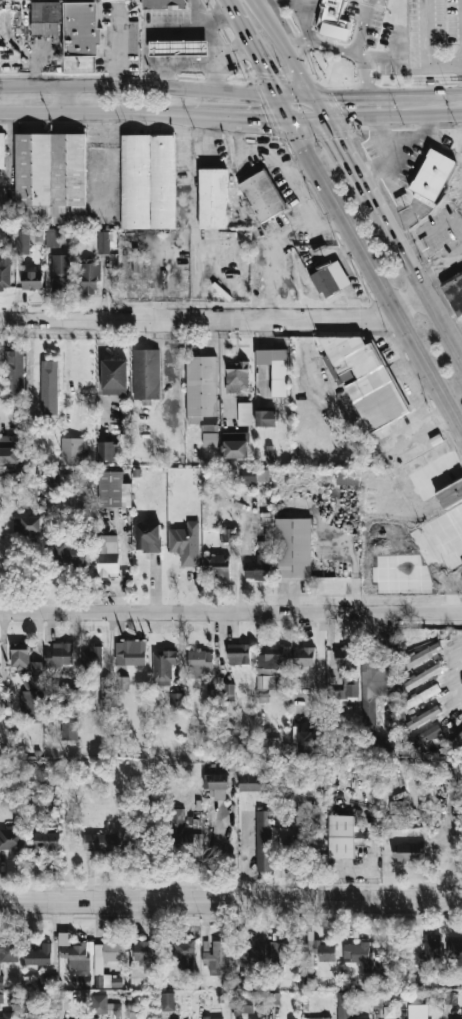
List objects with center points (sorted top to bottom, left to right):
building: (162, 4)
road: (367, 4)
road: (271, 7)
building: (46, 17)
road: (240, 17)
building: (333, 20)
building: (81, 28)
road: (360, 29)
road: (307, 31)
parking lot: (435, 37)
road: (426, 47)
building: (179, 48)
road: (286, 52)
road: (363, 53)
road: (267, 70)
traffic signals: (269, 74)
road: (366, 79)
road: (144, 86)
road: (65, 98)
road: (354, 106)
road: (425, 106)
road: (303, 107)
traffic signals: (343, 107)
road: (106, 112)
road: (249, 116)
traffic signals: (265, 116)
traffic signals: (338, 139)
road: (340, 143)
building: (2, 150)
road: (301, 170)
building: (433, 174)
building: (50, 177)
building: (148, 181)
building: (262, 195)
building: (212, 198)
road: (310, 213)
road: (331, 222)
building: (38, 236)
building: (52, 237)
building: (22, 241)
building: (104, 242)
road: (412, 268)
building: (5, 270)
road: (372, 270)
building: (61, 272)
building: (89, 277)
building: (330, 278)
building: (32, 279)
building: (454, 291)
road: (216, 316)
building: (275, 367)
building: (14, 371)
building: (146, 373)
building: (114, 376)
building: (236, 376)
building: (49, 379)
building: (366, 380)
building: (202, 396)
building: (244, 413)
building: (265, 417)
road: (345, 429)
road: (430, 432)
building: (235, 444)
building: (10, 448)
building: (73, 450)
building: (106, 450)
building: (269, 452)
building: (254, 475)
building: (348, 476)
building: (53, 478)
building: (113, 489)
building: (450, 493)
building: (26, 525)
building: (148, 536)
building: (185, 542)
building: (293, 547)
road: (345, 551)
building: (71, 554)
building: (108, 555)
building: (218, 565)
building: (259, 567)
road: (231, 612)
building: (130, 652)
building: (60, 653)
building: (238, 653)
building: (422, 654)
building: (94, 656)
building: (272, 658)
building: (200, 662)
building: (163, 666)
building: (304, 667)
building: (345, 674)
building: (423, 676)
building: (122, 682)
building: (29, 684)
building: (105, 684)
building: (229, 689)
building: (421, 696)
building: (178, 700)
building: (421, 717)
building: (391, 719)
building: (68, 726)
building: (424, 735)
building: (456, 741)
building: (271, 742)
building: (311, 742)
building: (255, 782)
building: (217, 784)
building: (186, 834)
building: (341, 836)
building: (13, 838)
building: (362, 838)
building: (263, 840)
building: (46, 841)
building: (105, 841)
building: (296, 843)
building: (408, 852)
road: (246, 861)
road: (231, 903)
building: (456, 945)
building: (429, 949)
building: (145, 950)
building: (282, 950)
building: (322, 950)
building: (394, 950)
building: (9, 951)
building: (185, 952)
building: (356, 952)
building: (107, 953)
building: (251, 953)
building: (39, 955)
building: (76, 955)
building: (217, 957)
building: (1, 975)
building: (112, 980)
building: (47, 981)
building: (81, 981)
building: (1, 997)
building: (451, 997)
building: (273, 998)
building: (168, 1001)
building: (244, 1004)
building: (104, 1005)
building: (343, 1005)
building: (417, 1011)
building: (7, 1015)
building: (132, 1015)
building: (213, 1017)
building: (255, 1017)
building: (316, 1018)

